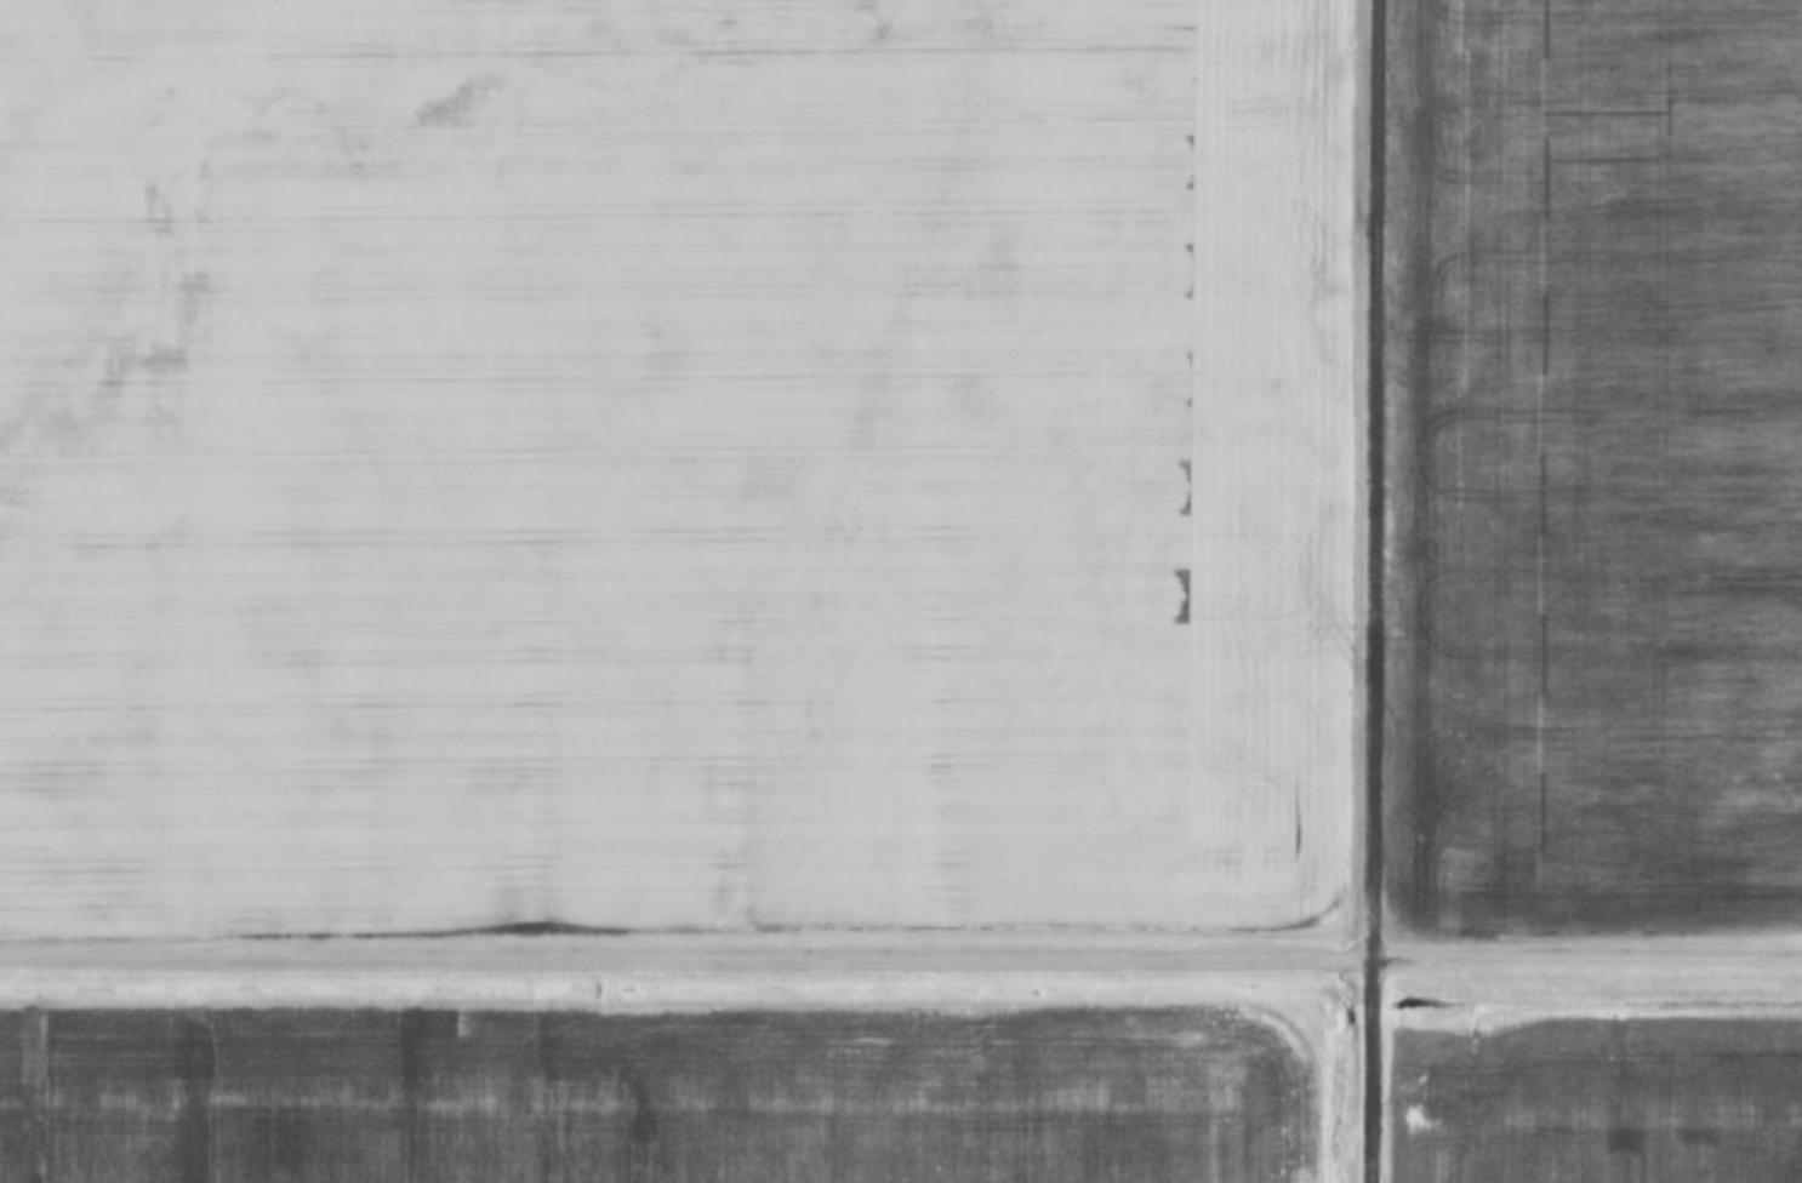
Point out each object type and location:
road: (1375, 591)
road: (901, 966)

